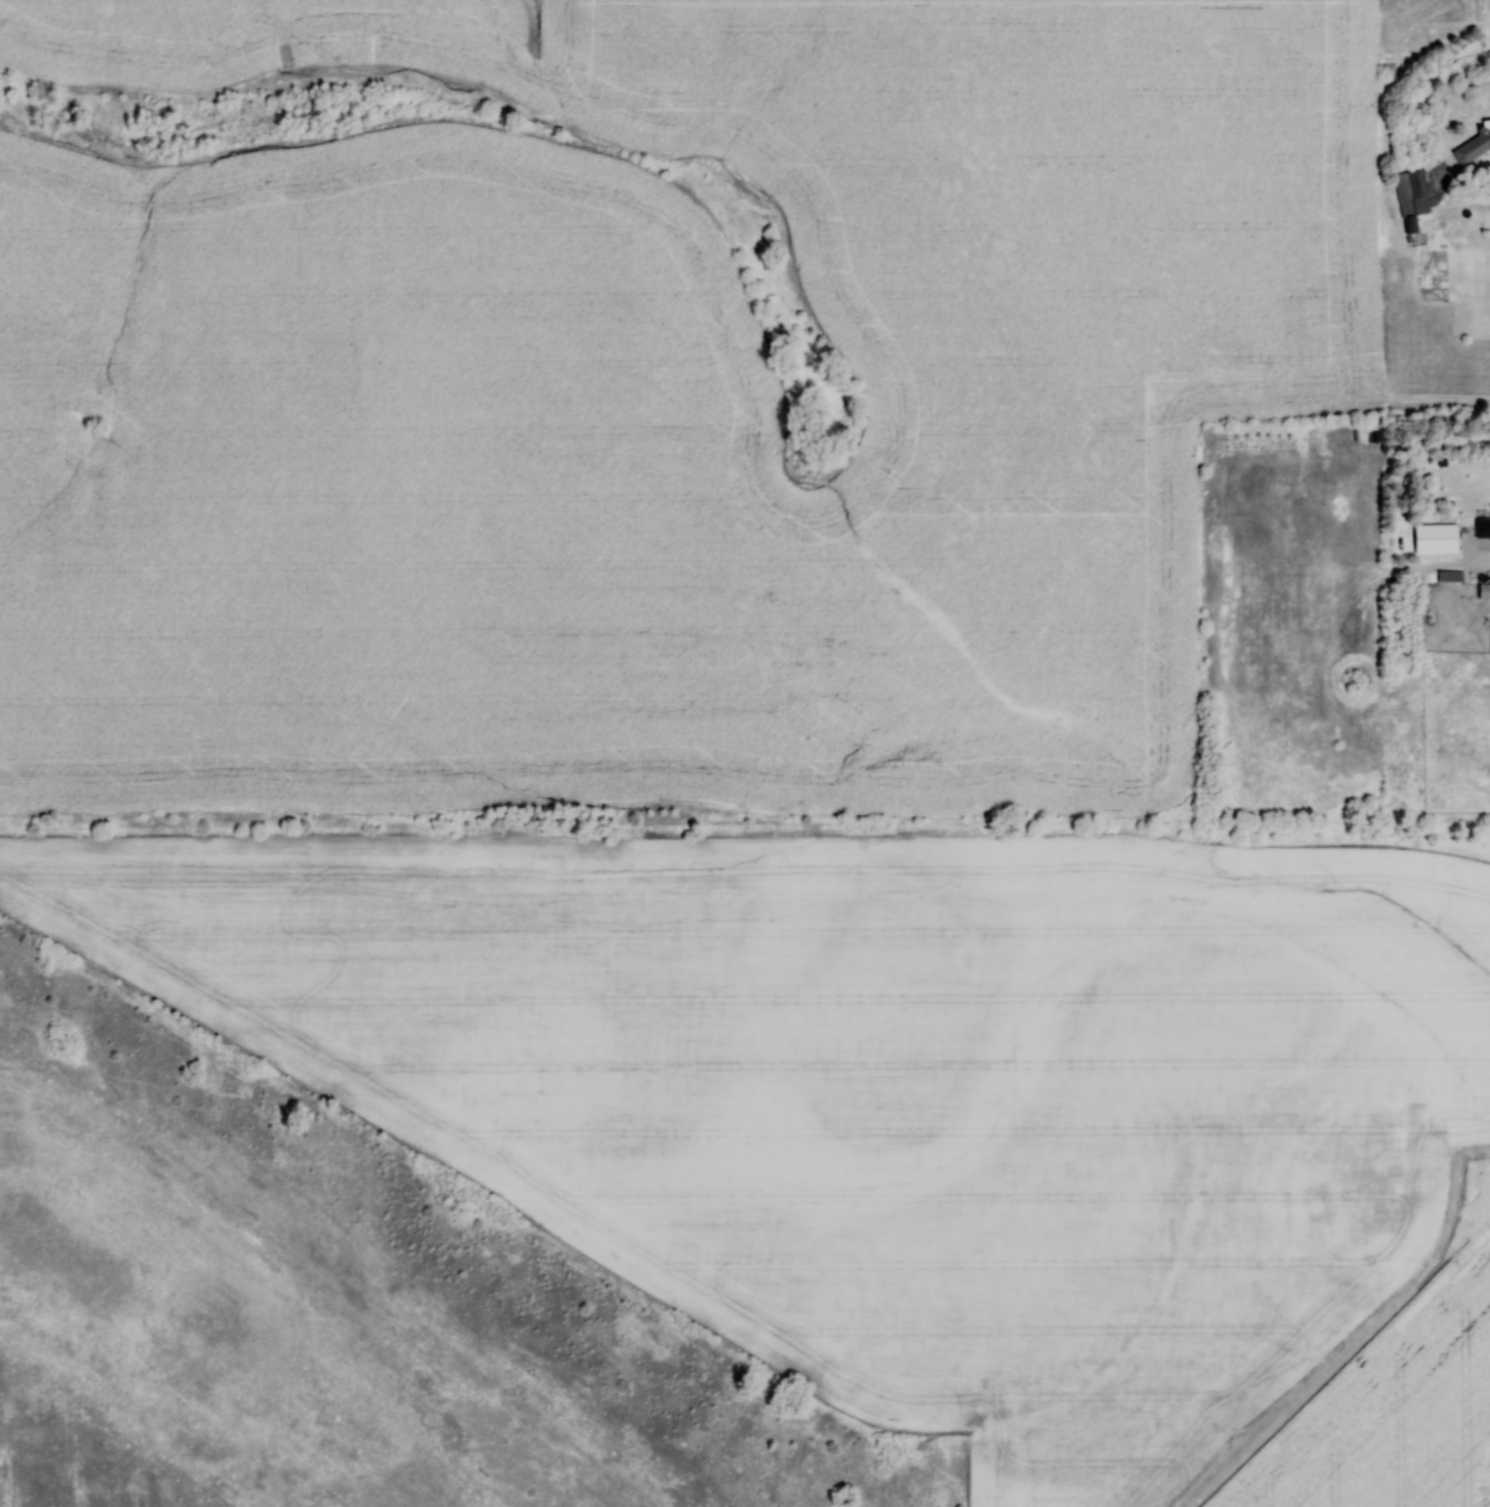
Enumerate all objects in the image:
road: (1463, 176)
building: (1412, 197)
building: (1434, 538)
building: (1449, 576)
building: (1484, 591)

